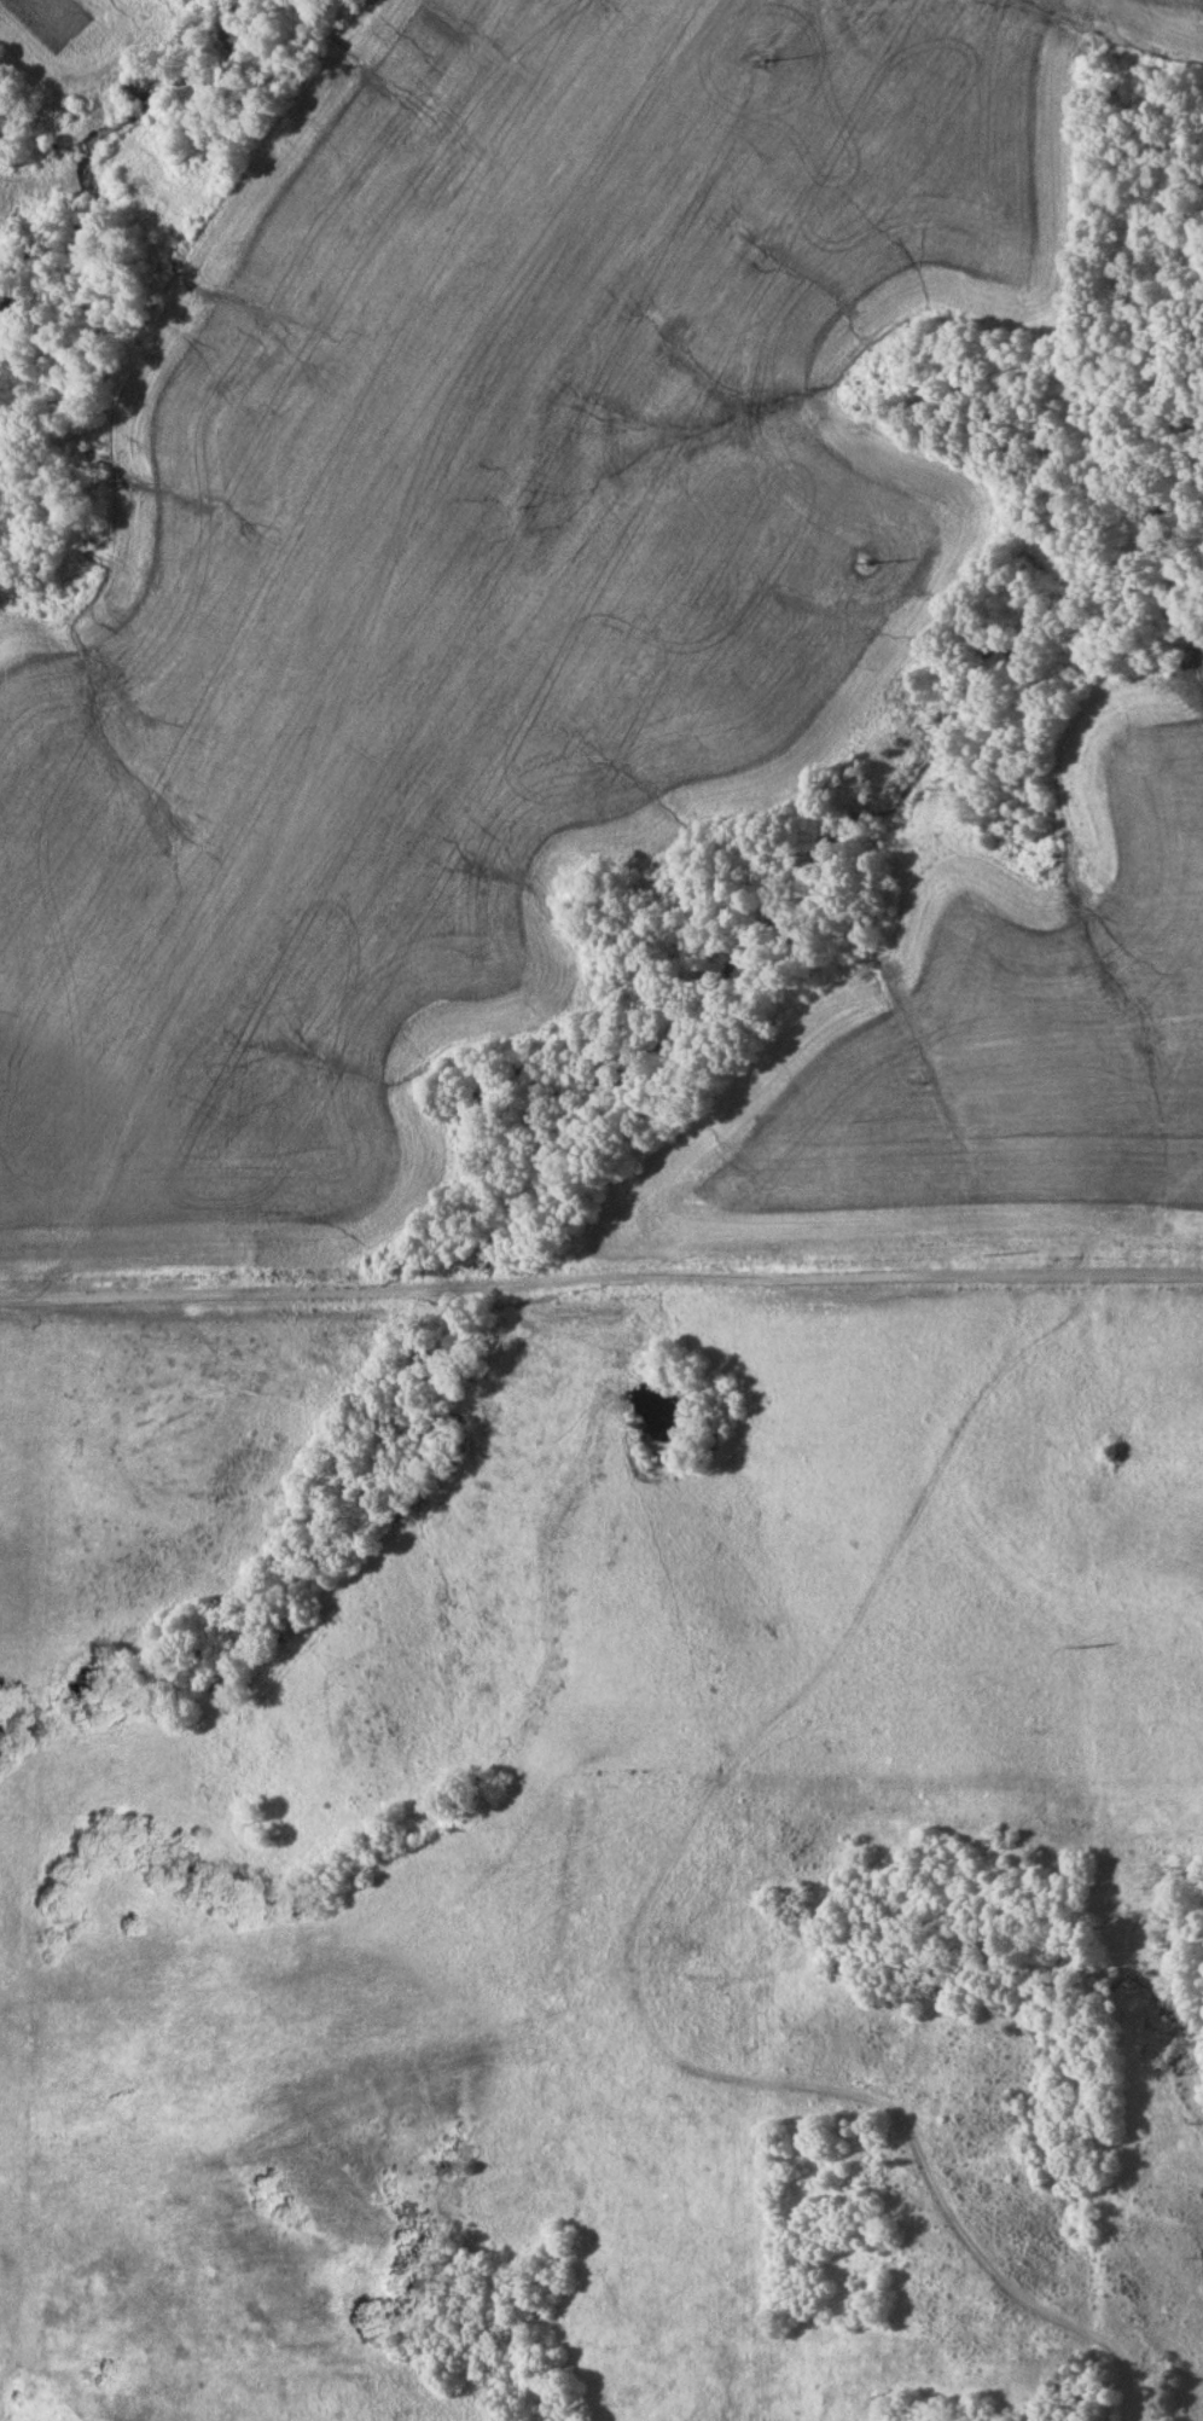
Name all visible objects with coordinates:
road: (1110, 1278)
road: (25, 1297)

